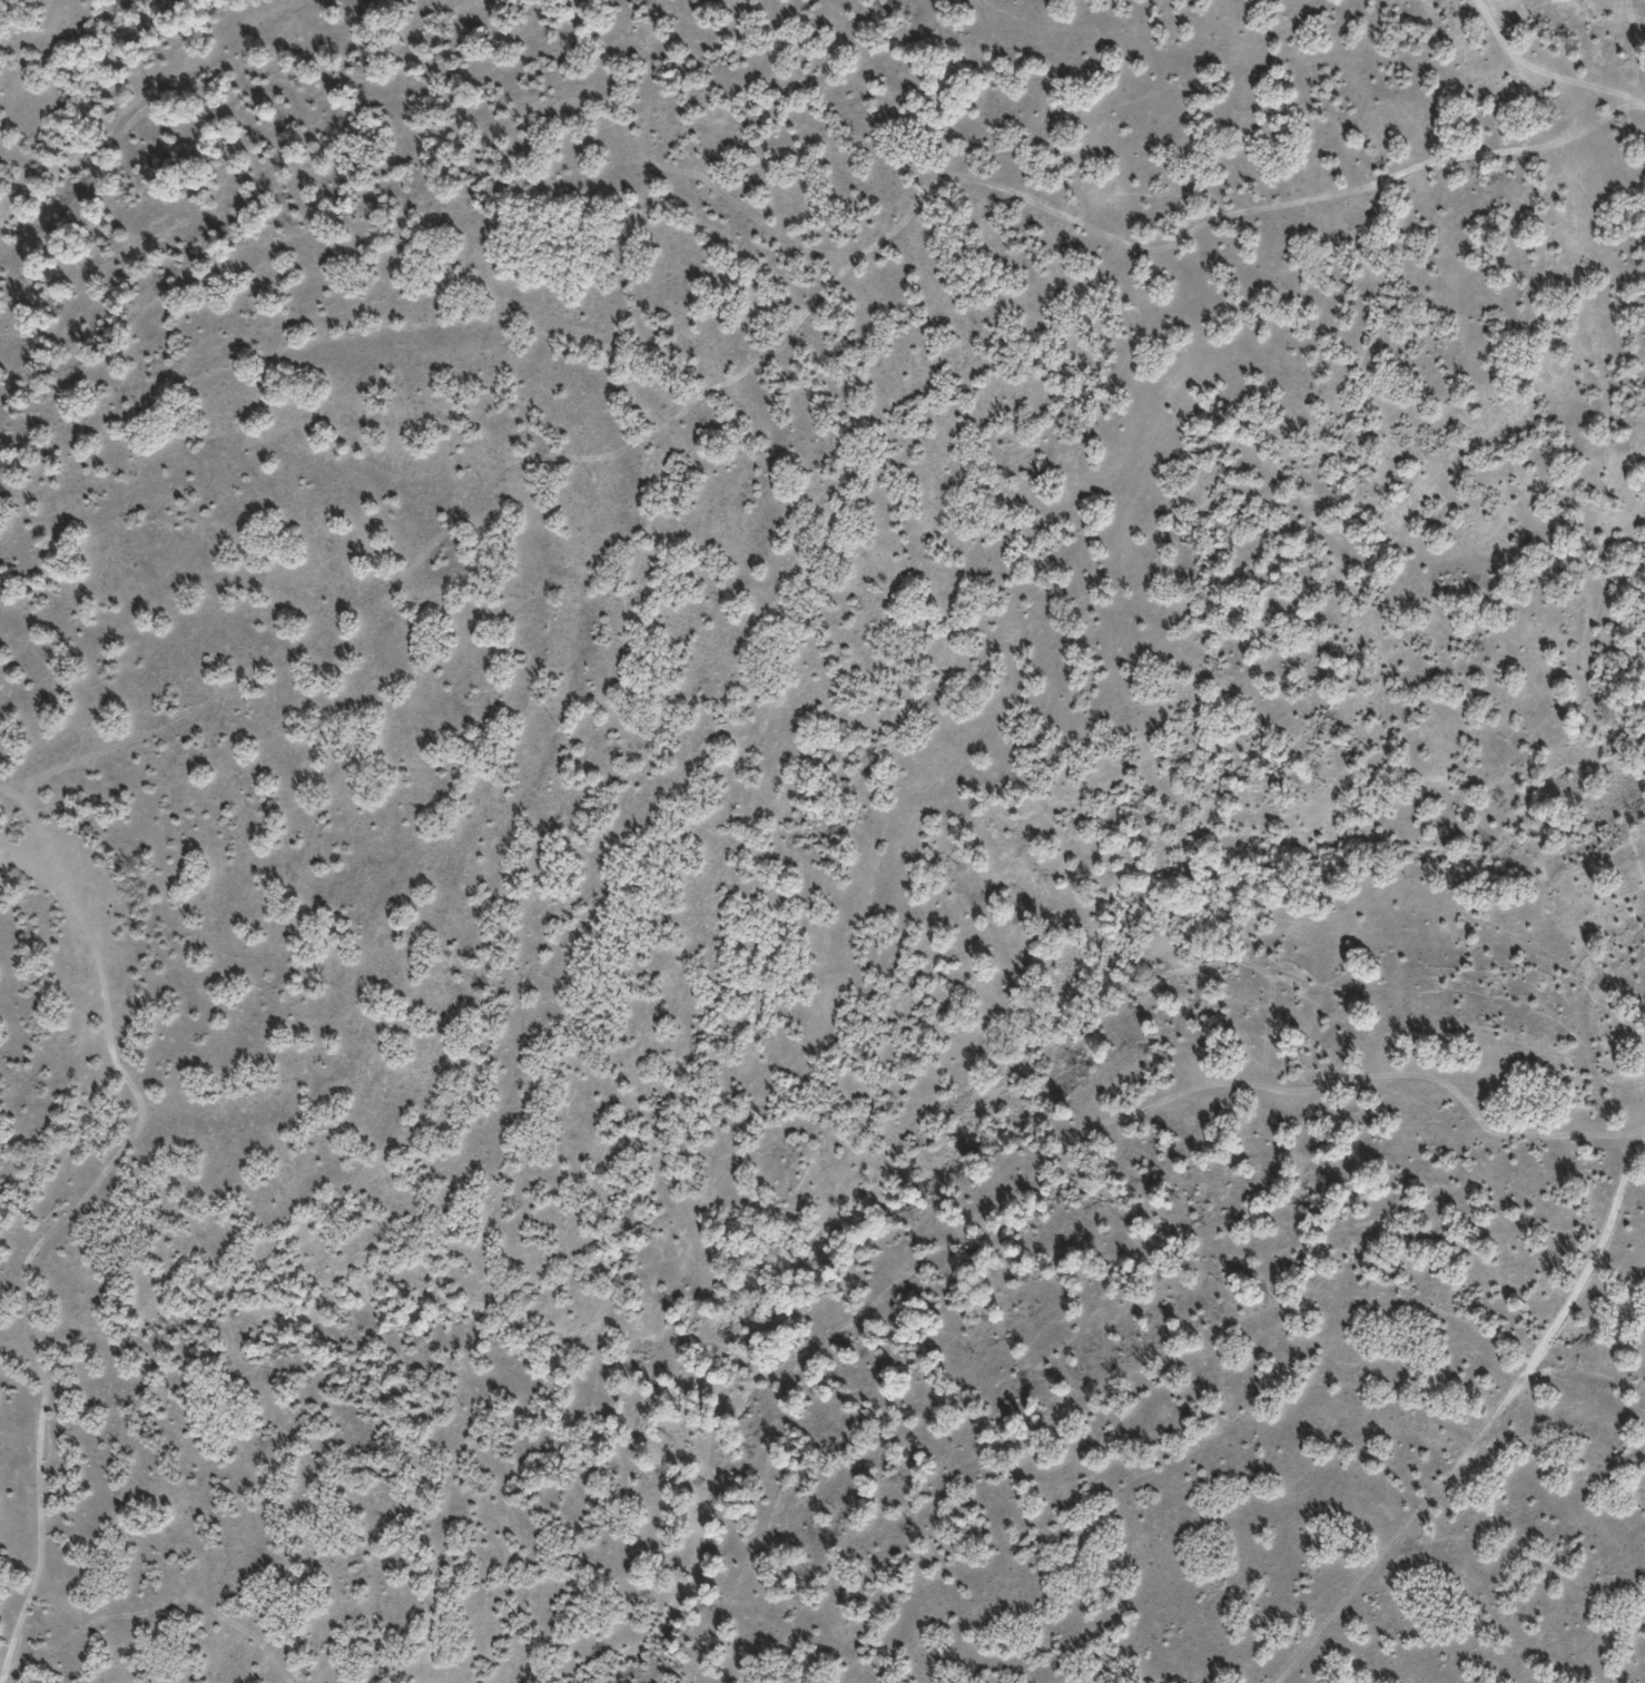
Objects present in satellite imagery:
road: (83, 1205)
road: (1626, 1666)

